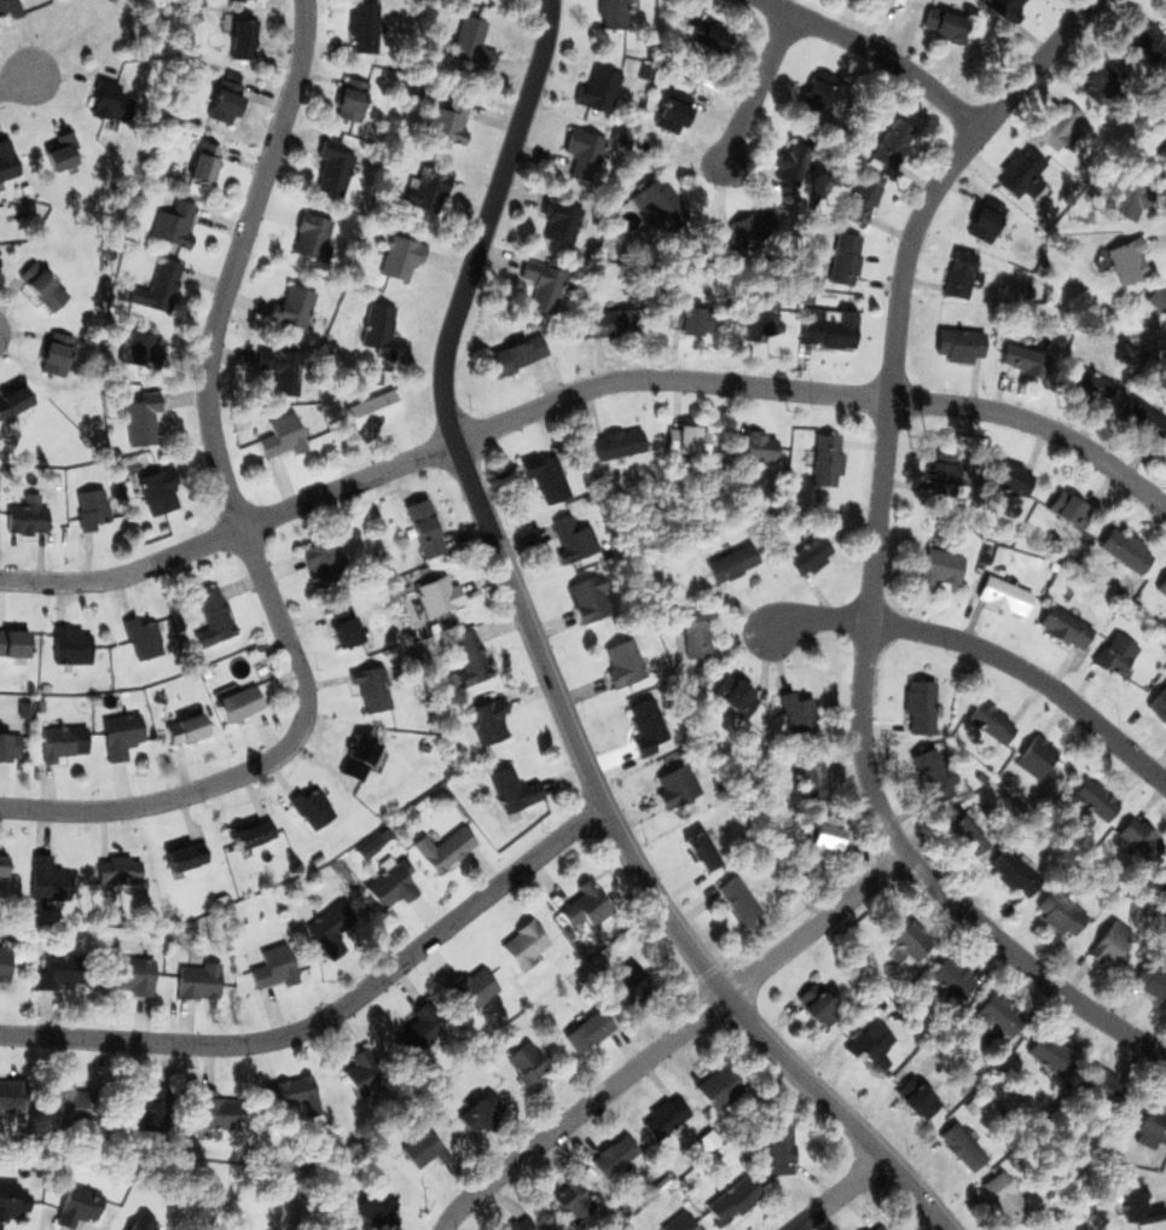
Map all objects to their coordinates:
building: (238, 1)
building: (883, 4)
building: (998, 5)
building: (12, 11)
building: (610, 12)
building: (945, 21)
building: (1132, 25)
building: (702, 27)
building: (361, 28)
building: (242, 36)
building: (469, 36)
building: (1149, 41)
road: (880, 56)
building: (1094, 71)
road: (11, 81)
building: (1101, 82)
building: (601, 85)
building: (823, 86)
road: (753, 87)
building: (224, 95)
building: (110, 100)
building: (361, 103)
building: (668, 112)
building: (1056, 120)
building: (447, 123)
building: (892, 135)
building: (1164, 150)
building: (10, 151)
building: (585, 153)
building: (64, 156)
building: (788, 161)
building: (204, 162)
building: (332, 168)
building: (1021, 170)
building: (422, 178)
building: (1126, 191)
building: (648, 192)
building: (859, 196)
building: (172, 215)
building: (979, 221)
building: (558, 222)
building: (738, 228)
building: (312, 232)
building: (399, 256)
building: (845, 256)
building: (1126, 262)
building: (955, 272)
building: (46, 280)
building: (157, 284)
building: (541, 284)
building: (1158, 300)
building: (291, 303)
building: (695, 313)
building: (605, 321)
building: (756, 321)
building: (376, 325)
building: (831, 331)
building: (959, 342)
building: (139, 348)
building: (515, 348)
building: (57, 355)
building: (1017, 356)
building: (284, 375)
building: (1085, 382)
road: (580, 390)
building: (13, 402)
building: (367, 410)
building: (1144, 419)
building: (137, 420)
building: (283, 434)
building: (690, 436)
building: (616, 439)
building: (753, 448)
building: (824, 457)
building: (942, 474)
building: (1014, 474)
building: (549, 476)
building: (156, 486)
building: (1065, 504)
building: (94, 506)
building: (27, 517)
building: (417, 522)
road: (240, 526)
building: (568, 540)
building: (1127, 549)
building: (327, 551)
building: (812, 552)
building: (730, 557)
road: (876, 563)
building: (929, 564)
building: (1005, 584)
building: (1162, 588)
building: (434, 596)
building: (590, 598)
building: (1005, 598)
building: (1071, 615)
building: (208, 616)
building: (346, 626)
building: (1066, 628)
building: (139, 633)
building: (695, 637)
building: (71, 640)
building: (13, 643)
road: (978, 645)
building: (1118, 649)
building: (460, 652)
building: (620, 656)
road: (546, 667)
building: (377, 686)
building: (736, 694)
building: (240, 698)
building: (799, 706)
building: (918, 706)
building: (1159, 706)
building: (642, 716)
building: (483, 718)
building: (990, 723)
building: (176, 730)
building: (112, 733)
building: (63, 741)
building: (5, 743)
building: (355, 750)
building: (1027, 754)
building: (807, 767)
building: (927, 771)
building: (679, 781)
building: (507, 787)
building: (308, 799)
building: (1095, 800)
building: (246, 829)
building: (826, 834)
building: (1131, 834)
building: (956, 835)
building: (701, 840)
building: (184, 843)
building: (439, 843)
building: (2, 864)
building: (116, 864)
building: (1005, 871)
building: (1160, 872)
building: (48, 876)
building: (389, 883)
building: (737, 897)
building: (585, 904)
building: (1061, 909)
building: (325, 930)
building: (1116, 933)
building: (517, 939)
building: (899, 945)
building: (268, 962)
building: (5, 968)
building: (128, 970)
building: (190, 973)
building: (1150, 973)
building: (56, 975)
building: (632, 976)
building: (951, 976)
building: (470, 993)
building: (819, 1002)
road: (333, 1013)
building: (991, 1016)
building: (406, 1023)
building: (585, 1023)
road: (671, 1040)
building: (865, 1040)
building: (1044, 1050)
building: (524, 1056)
building: (355, 1066)
building: (1103, 1079)
building: (283, 1083)
building: (11, 1084)
building: (714, 1086)
building: (70, 1097)
building: (918, 1097)
building: (146, 1104)
building: (208, 1104)
building: (474, 1109)
building: (661, 1114)
building: (1150, 1127)
building: (773, 1141)
building: (610, 1142)
building: (958, 1142)
building: (414, 1144)
building: (614, 1154)
road: (842, 1193)
building: (574, 1195)
building: (727, 1195)
building: (999, 1196)
building: (7, 1199)
building: (1135, 1203)
building: (70, 1205)
building: (372, 1208)
building: (510, 1219)
building: (137, 1220)
building: (680, 1223)
building: (866, 1224)
building: (1038, 1226)
building: (1046, 1229)

